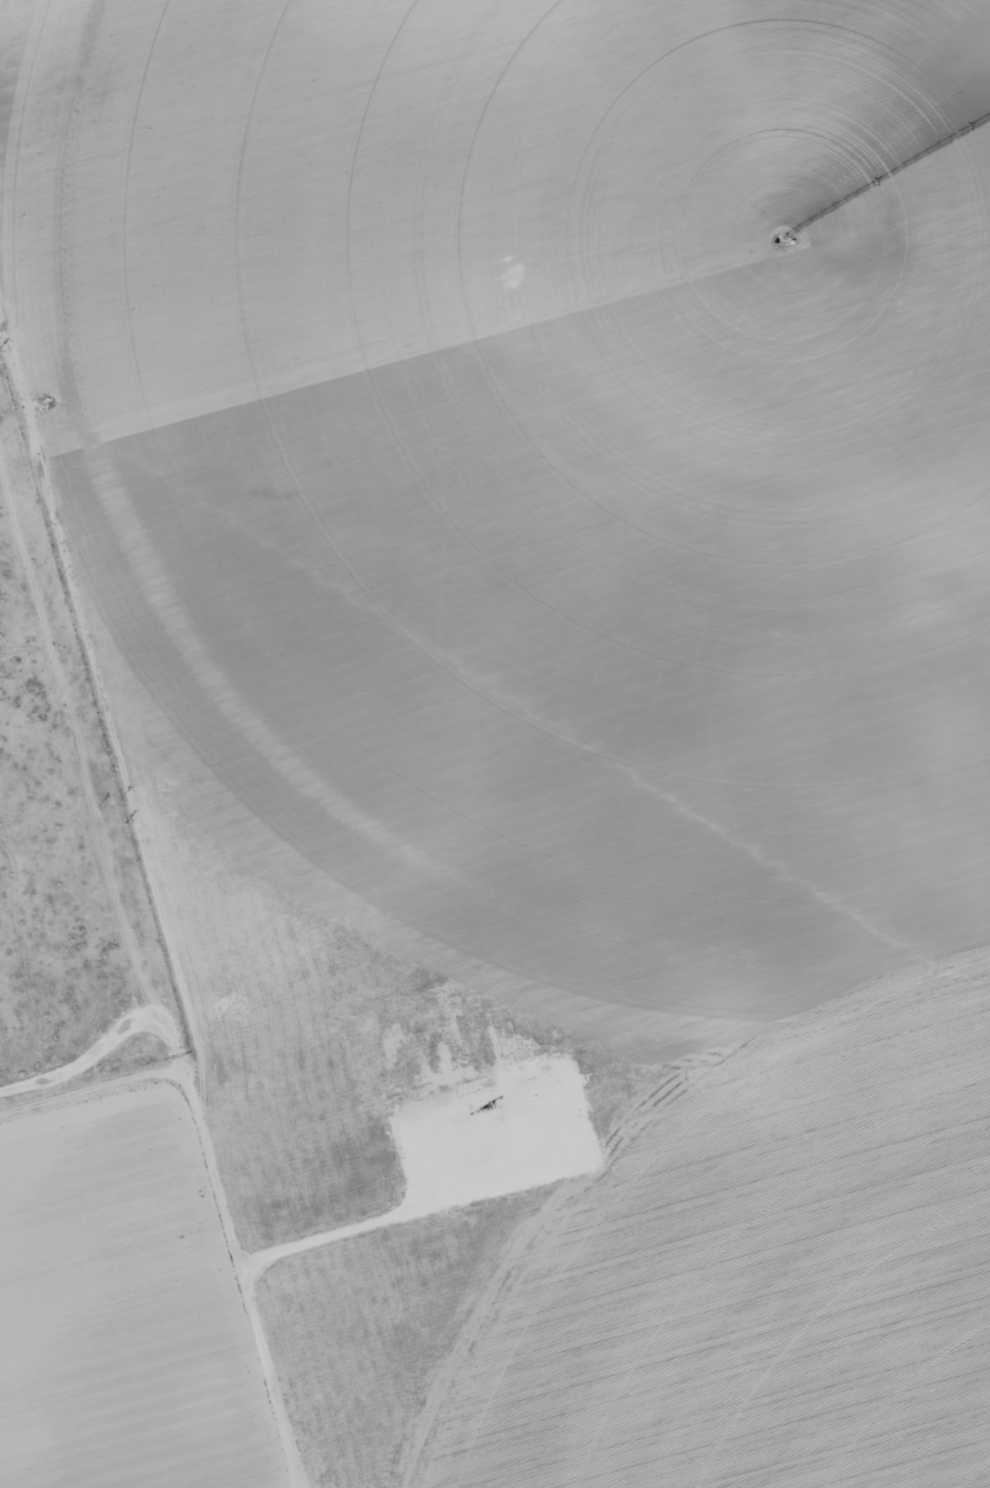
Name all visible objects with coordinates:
petroleum well: (495, 1105)

